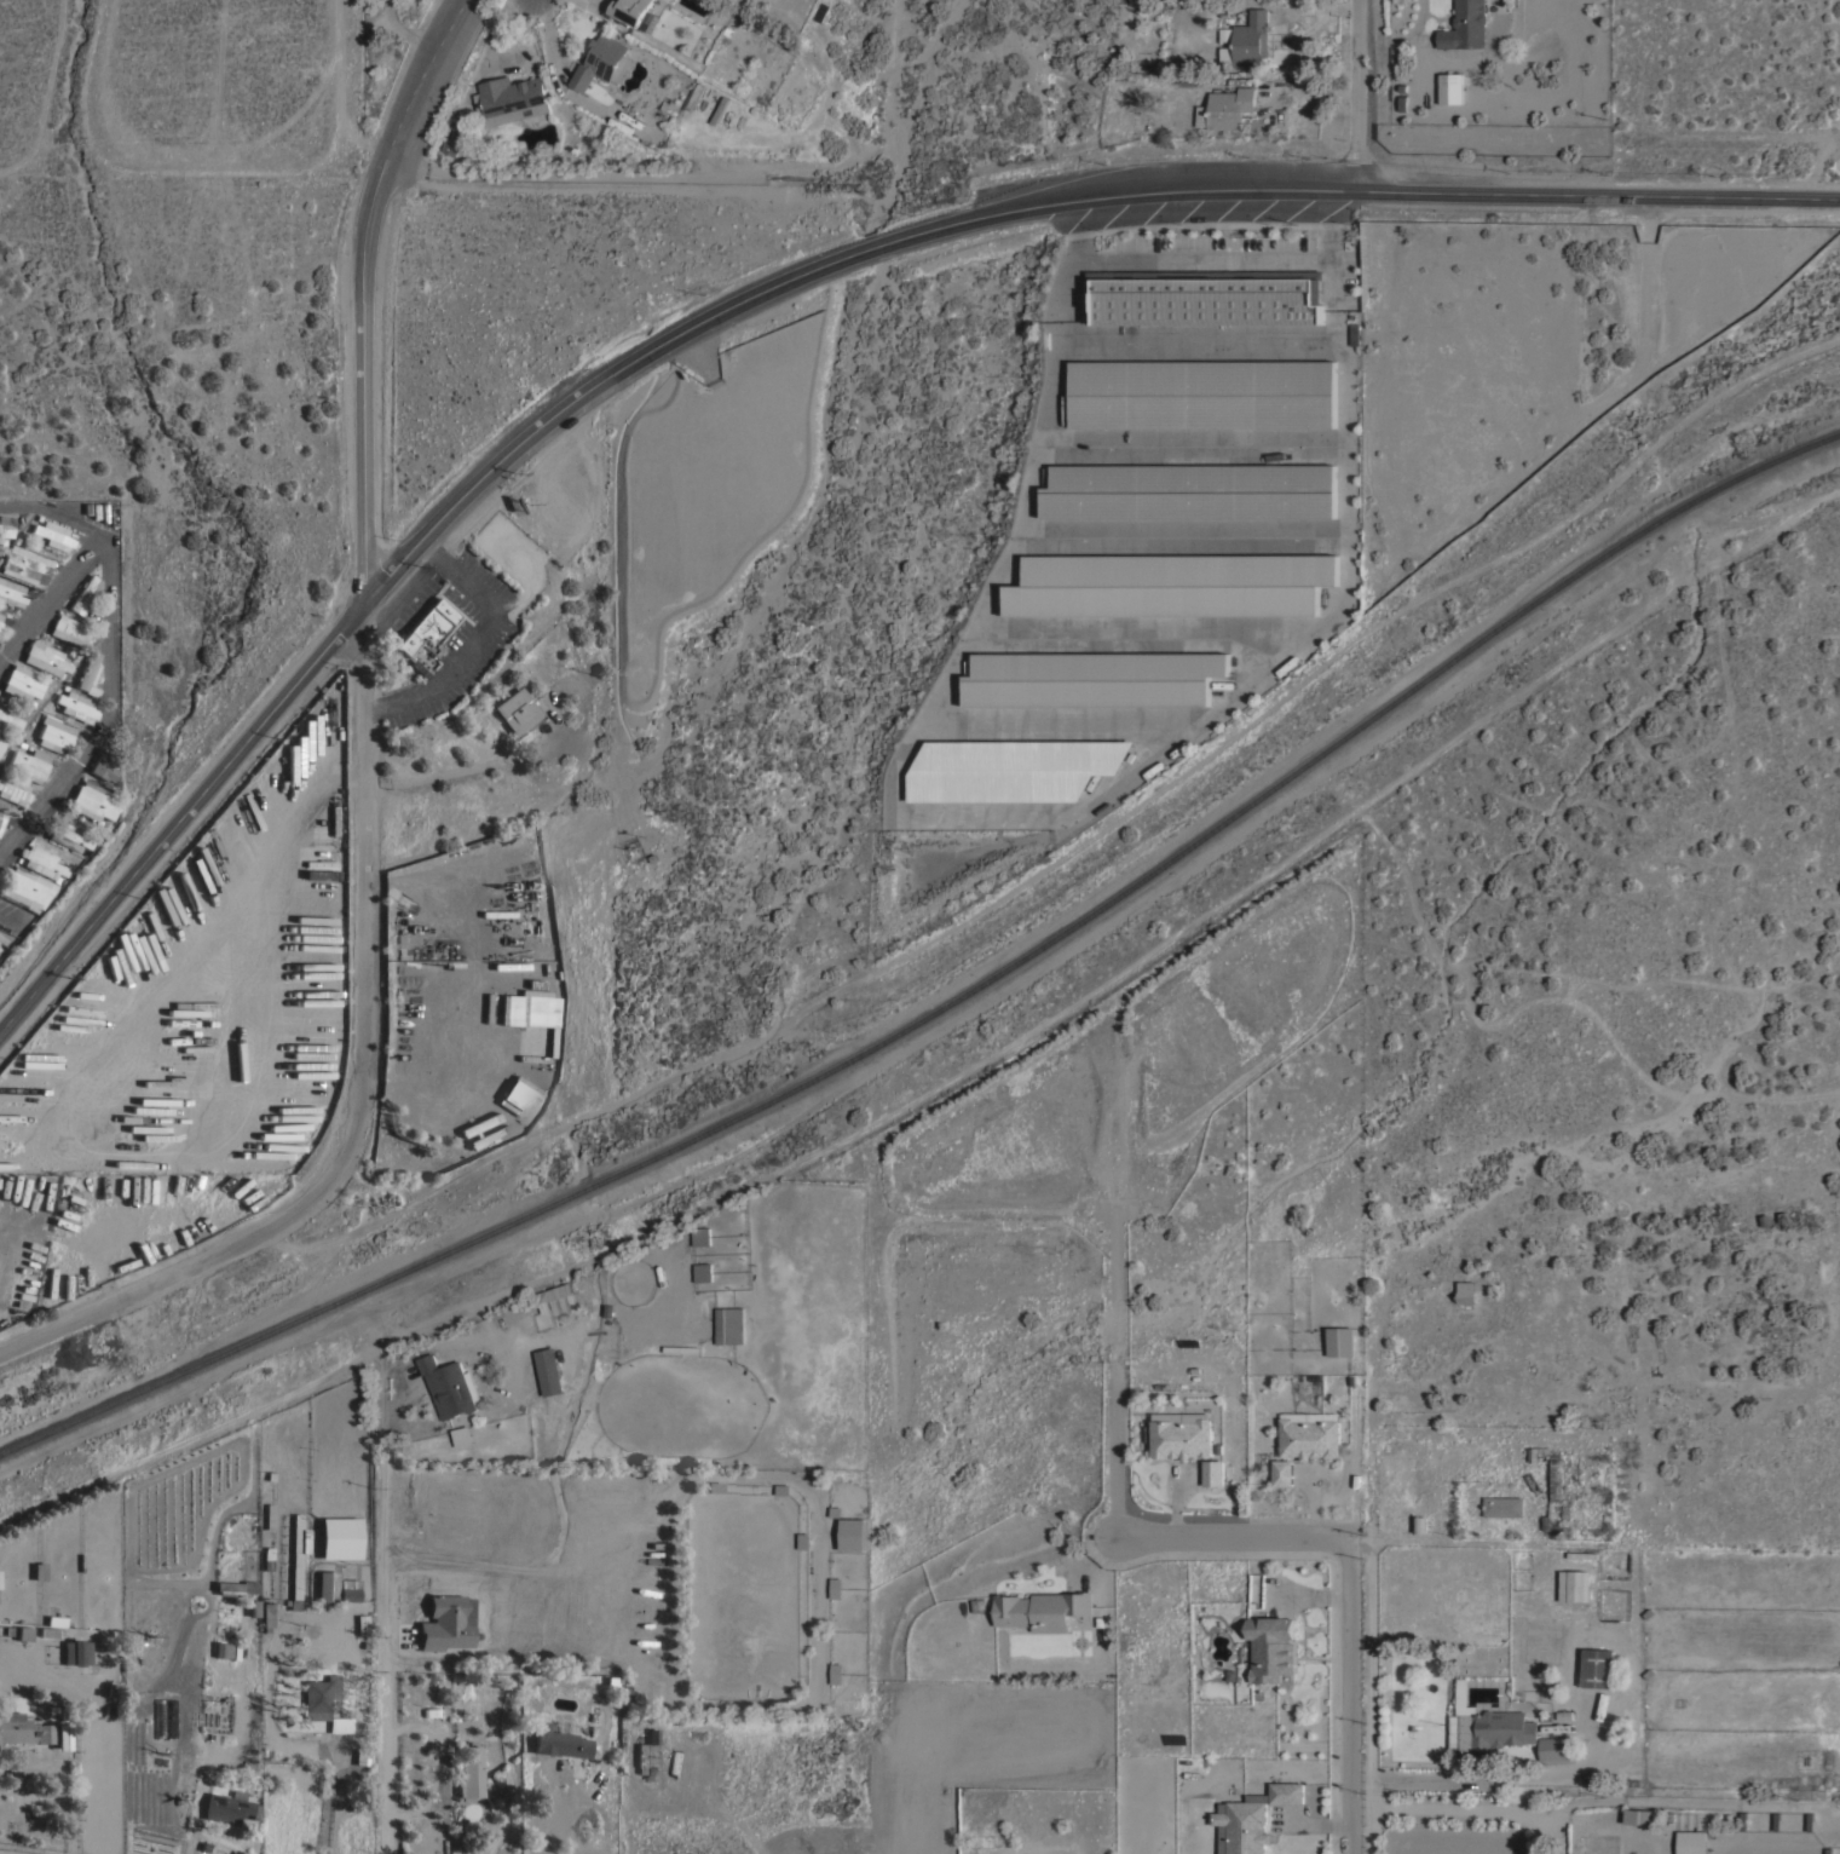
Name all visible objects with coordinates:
building: (634, 12)
building: (1465, 24)
road: (405, 34)
building: (1251, 36)
building: (768, 42)
building: (599, 59)
building: (619, 67)
building: (1449, 87)
road: (1359, 92)
building: (509, 98)
building: (1232, 105)
road: (1367, 184)
road: (863, 249)
road: (1215, 260)
building: (1205, 295)
building: (1354, 333)
building: (1204, 392)
building: (1190, 489)
road: (53, 516)
building: (5, 531)
building: (52, 534)
building: (2, 541)
building: (25, 564)
building: (1170, 585)
building: (11, 593)
building: (83, 593)
road: (371, 597)
road: (52, 598)
building: (0, 614)
building: (427, 628)
building: (68, 631)
road: (478, 640)
building: (45, 658)
building: (88, 674)
building: (1091, 679)
building: (21, 684)
building: (0, 706)
building: (76, 706)
building: (515, 710)
road: (109, 712)
building: (8, 720)
building: (54, 733)
building: (1, 743)
building: (29, 762)
building: (104, 766)
building: (1013, 768)
road: (368, 771)
building: (13, 789)
building: (92, 802)
building: (2, 817)
building: (67, 835)
building: (41, 863)
building: (25, 888)
road: (6, 921)
building: (0, 945)
railway: (951, 998)
building: (529, 1015)
building: (520, 1099)
building: (699, 1237)
building: (700, 1272)
building: (1466, 1290)
building: (556, 1292)
building: (729, 1325)
building: (1339, 1340)
building: (549, 1370)
building: (450, 1386)
building: (307, 1421)
building: (1309, 1436)
building: (1179, 1438)
building: (1536, 1451)
building: (1212, 1472)
building: (1282, 1472)
building: (1553, 1479)
building: (1502, 1505)
building: (269, 1516)
building: (1419, 1524)
building: (853, 1533)
building: (340, 1537)
building: (267, 1558)
building: (298, 1559)
building: (39, 1571)
road: (1350, 1579)
building: (328, 1585)
building: (1571, 1585)
building: (835, 1587)
building: (235, 1588)
building: (348, 1590)
building: (1042, 1608)
building: (266, 1614)
building: (1078, 1620)
building: (446, 1622)
building: (363, 1624)
building: (51, 1631)
building: (1270, 1648)
building: (223, 1649)
building: (76, 1652)
road: (383, 1653)
building: (1597, 1666)
building: (836, 1671)
building: (318, 1697)
building: (340, 1723)
building: (1486, 1725)
building: (24, 1729)
building: (558, 1743)
building: (1555, 1746)
building: (647, 1755)
building: (469, 1772)
building: (229, 1807)
road: (1452, 1807)
building: (1638, 1815)
building: (1251, 1819)
building: (1690, 1841)

